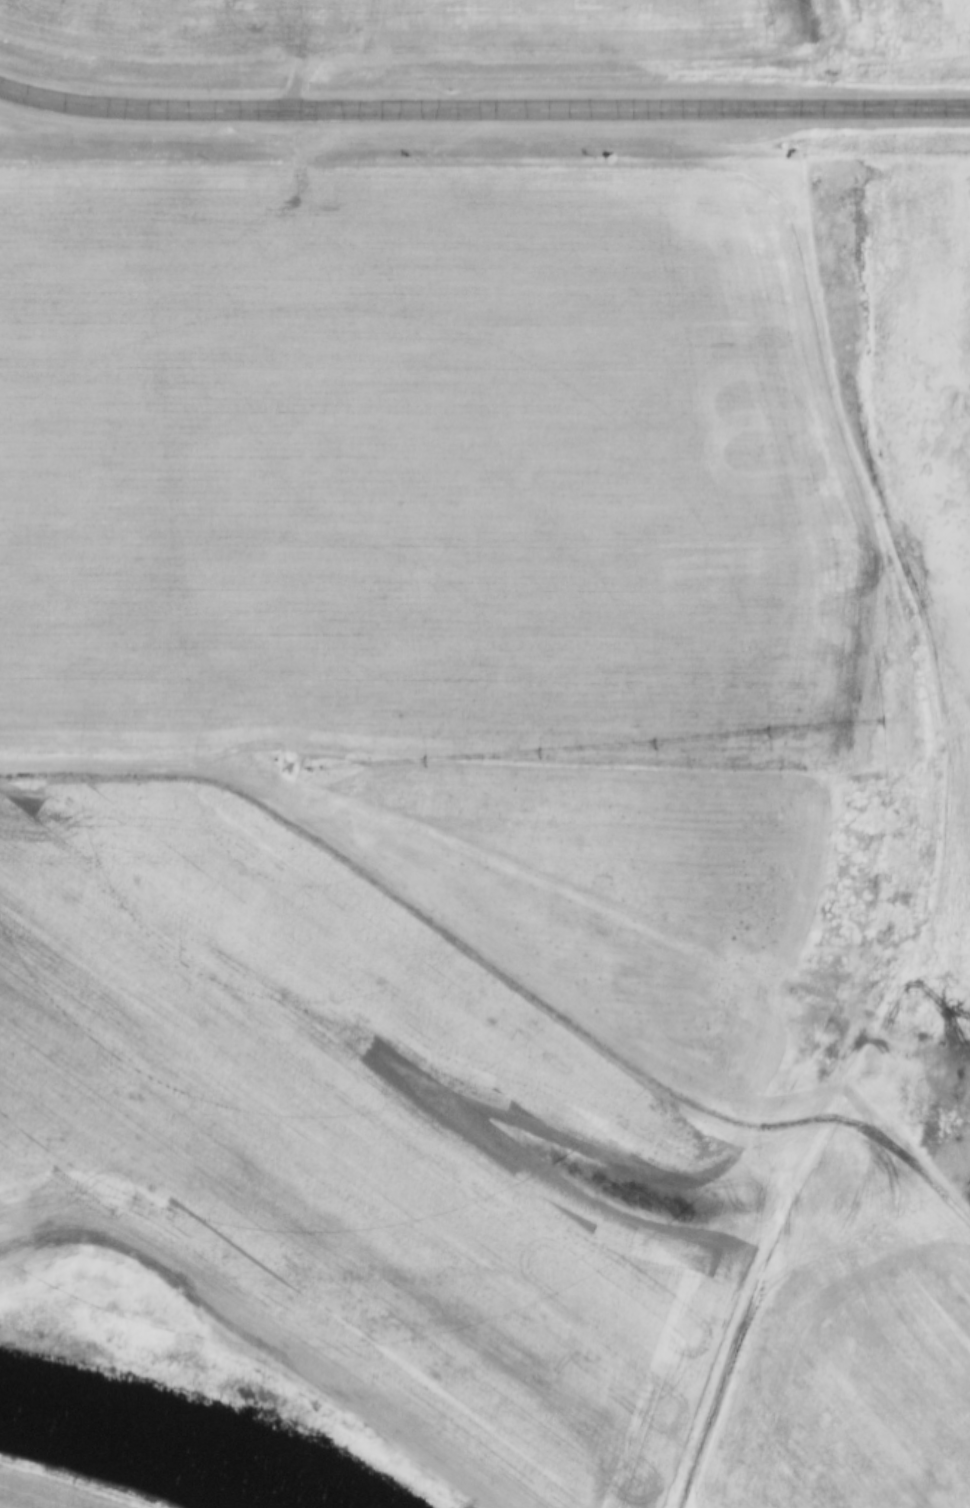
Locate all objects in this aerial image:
road: (483, 113)
river: (152, 1450)

